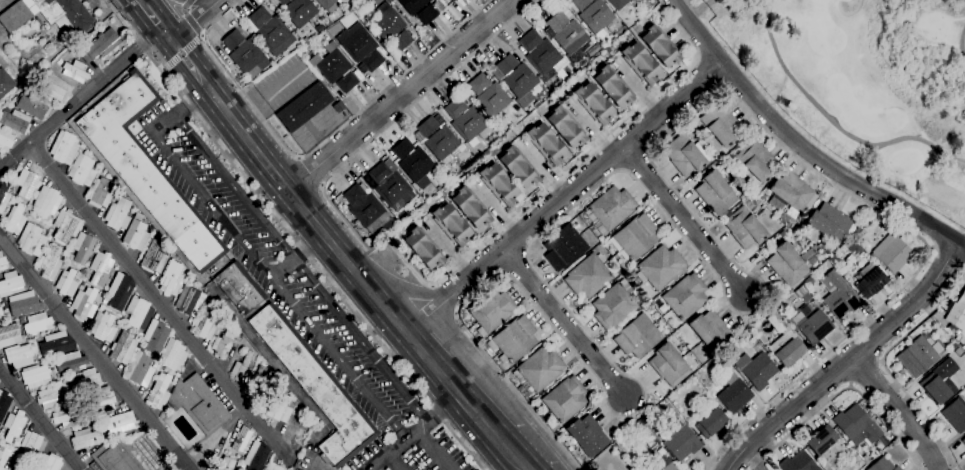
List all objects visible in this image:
building: (452, 1)
building: (283, 2)
building: (618, 3)
road: (186, 4)
building: (412, 5)
building: (331, 6)
road: (699, 9)
road: (182, 11)
building: (47, 14)
building: (301, 14)
building: (427, 14)
building: (594, 14)
building: (259, 17)
road: (141, 19)
building: (327, 22)
road: (191, 24)
road: (193, 24)
building: (366, 24)
building: (319, 28)
building: (389, 28)
building: (568, 34)
building: (275, 36)
road: (184, 40)
road: (962, 42)
road: (193, 43)
building: (101, 45)
building: (660, 45)
building: (360, 46)
road: (181, 54)
building: (245, 54)
building: (541, 54)
road: (170, 62)
building: (641, 62)
building: (506, 64)
road: (178, 66)
building: (334, 67)
building: (75, 71)
building: (520, 81)
building: (5, 82)
building: (478, 83)
park: (863, 84)
building: (613, 86)
building: (55, 88)
road: (401, 96)
building: (524, 99)
road: (190, 100)
building: (492, 100)
road: (77, 101)
building: (594, 102)
building: (34, 105)
building: (303, 107)
road: (396, 118)
building: (465, 120)
building: (15, 121)
road: (833, 123)
building: (720, 124)
building: (565, 126)
building: (428, 127)
building: (5, 140)
building: (441, 143)
building: (546, 143)
road: (801, 145)
building: (82, 146)
building: (64, 147)
road: (317, 147)
building: (402, 148)
building: (485, 152)
building: (684, 155)
building: (757, 161)
building: (416, 164)
building: (518, 167)
building: (147, 169)
building: (82, 170)
road: (311, 171)
road: (568, 171)
building: (737, 172)
building: (740, 180)
building: (27, 182)
building: (499, 183)
building: (390, 185)
building: (100, 193)
building: (715, 193)
building: (4, 194)
building: (790, 194)
road: (565, 197)
building: (47, 201)
building: (29, 207)
building: (471, 207)
building: (365, 208)
building: (610, 209)
road: (304, 211)
building: (118, 214)
building: (14, 219)
building: (829, 222)
building: (451, 224)
road: (687, 224)
building: (65, 227)
building: (744, 228)
building: (782, 234)
building: (136, 235)
building: (636, 236)
road: (293, 238)
building: (31, 240)
road: (378, 245)
building: (83, 247)
building: (423, 247)
building: (564, 247)
building: (801, 252)
building: (891, 253)
road: (297, 254)
building: (70, 256)
building: (154, 257)
road: (947, 257)
building: (50, 261)
building: (3, 262)
building: (787, 265)
building: (816, 265)
road: (300, 266)
building: (660, 266)
building: (100, 268)
building: (186, 272)
road: (270, 273)
building: (589, 275)
building: (171, 278)
building: (870, 279)
road: (718, 280)
building: (808, 281)
building: (67, 282)
building: (10, 284)
building: (239, 288)
building: (119, 290)
road: (408, 290)
building: (101, 294)
building: (802, 294)
building: (836, 295)
building: (685, 296)
road: (443, 297)
building: (0, 300)
building: (104, 300)
building: (189, 300)
road: (159, 301)
building: (24, 303)
building: (84, 304)
building: (614, 305)
building: (101, 307)
building: (491, 309)
building: (1, 312)
building: (138, 312)
building: (957, 312)
building: (207, 322)
road: (565, 322)
building: (37, 323)
building: (101, 324)
building: (811, 324)
building: (710, 330)
building: (9, 335)
building: (155, 336)
building: (637, 336)
building: (514, 339)
building: (960, 340)
building: (785, 343)
building: (56, 344)
building: (222, 344)
building: (953, 345)
building: (123, 347)
building: (728, 350)
building: (958, 352)
building: (18, 353)
road: (94, 353)
building: (173, 354)
building: (919, 355)
building: (71, 361)
road: (848, 361)
building: (669, 364)
road: (884, 365)
building: (140, 368)
building: (242, 368)
building: (756, 369)
building: (538, 370)
building: (35, 376)
building: (176, 377)
building: (86, 381)
road: (457, 381)
building: (939, 382)
building: (257, 383)
building: (316, 387)
road: (841, 390)
building: (159, 392)
building: (52, 396)
building: (735, 396)
building: (565, 399)
building: (103, 400)
building: (198, 403)
building: (3, 404)
building: (279, 408)
road: (895, 413)
building: (955, 414)
building: (67, 416)
road: (41, 418)
building: (119, 422)
building: (711, 422)
building: (13, 425)
building: (856, 425)
road: (413, 429)
building: (638, 430)
building: (587, 435)
building: (85, 438)
building: (241, 439)
building: (821, 440)
building: (886, 440)
building: (963, 441)
building: (682, 443)
building: (31, 446)
building: (621, 446)
road: (431, 449)
building: (877, 450)
parking lot: (414, 452)
road: (519, 452)
building: (256, 455)
building: (3, 456)
building: (116, 456)
building: (866, 459)
road: (394, 460)
building: (48, 462)
building: (798, 462)
building: (225, 463)
building: (665, 463)
building: (883, 465)
building: (21, 466)
building: (243, 466)
building: (273, 466)
road: (528, 468)
building: (654, 468)

